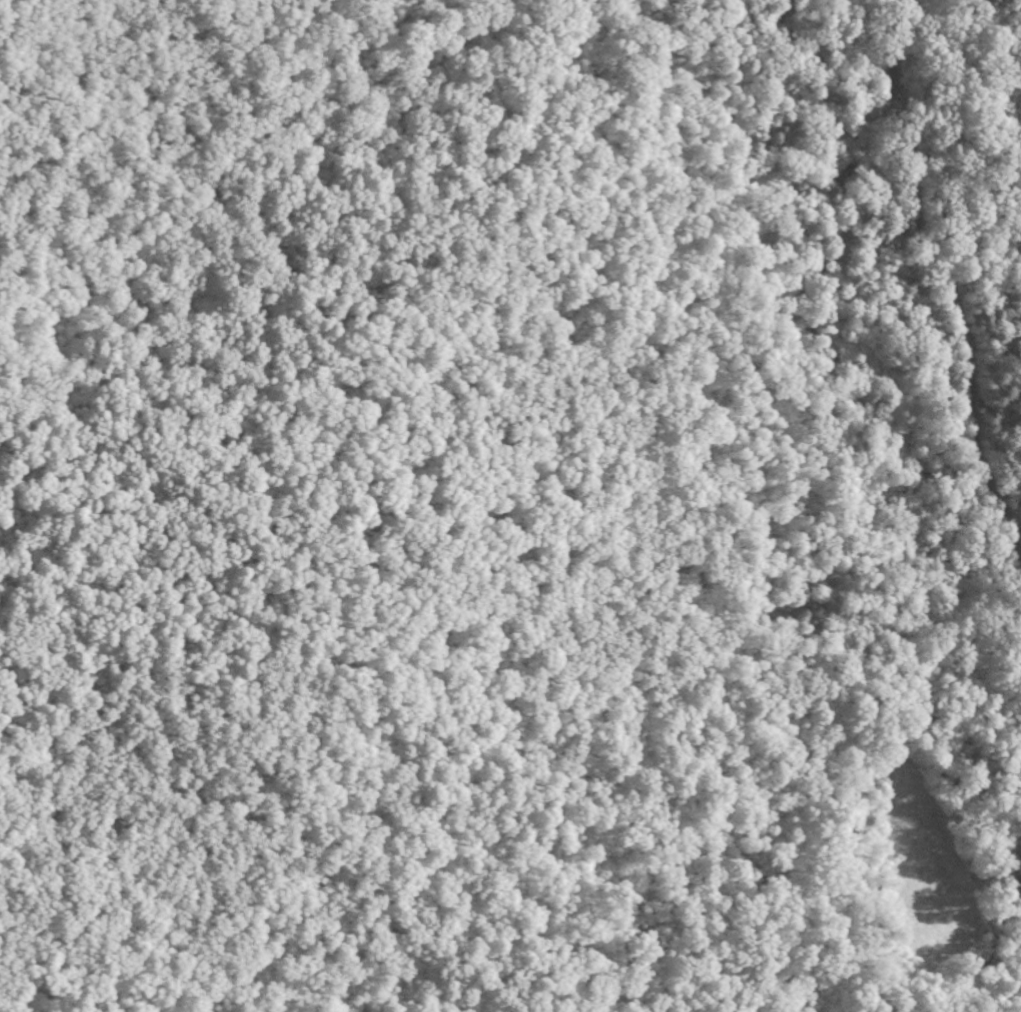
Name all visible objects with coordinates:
road: (947, 277)

